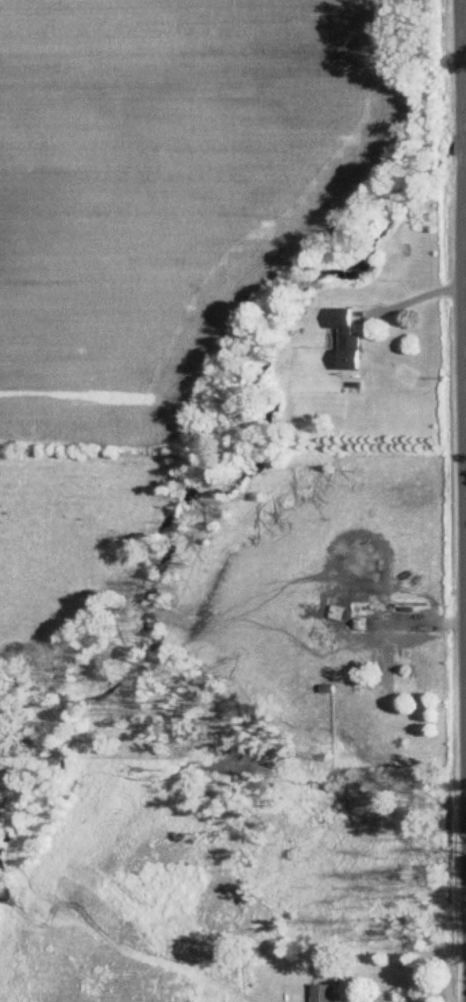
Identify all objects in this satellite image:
road: (465, 31)
road: (410, 287)
building: (345, 339)
building: (390, 667)
building: (325, 993)

